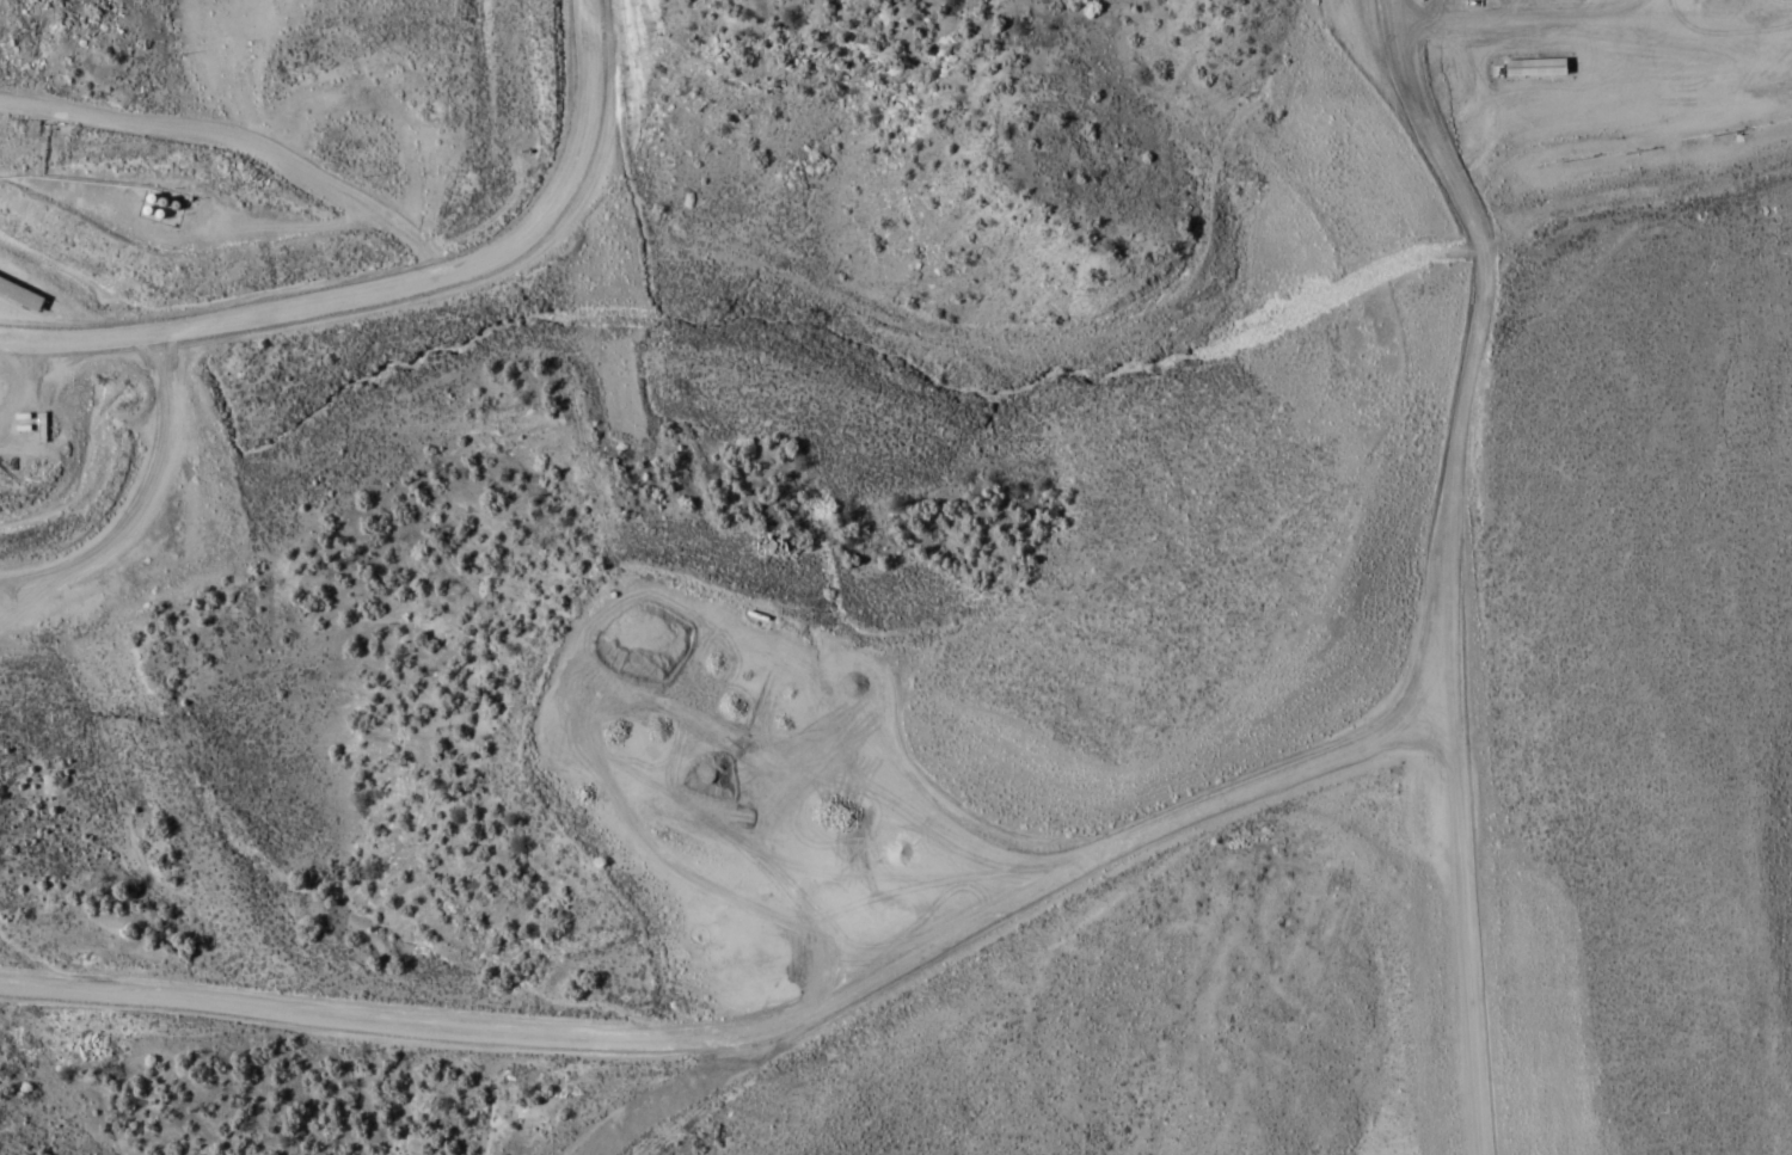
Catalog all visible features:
building: (1780, 85)
road: (393, 287)
road: (1435, 575)
building: (738, 711)
building: (766, 861)
road: (1000, 911)
road: (440, 1015)

